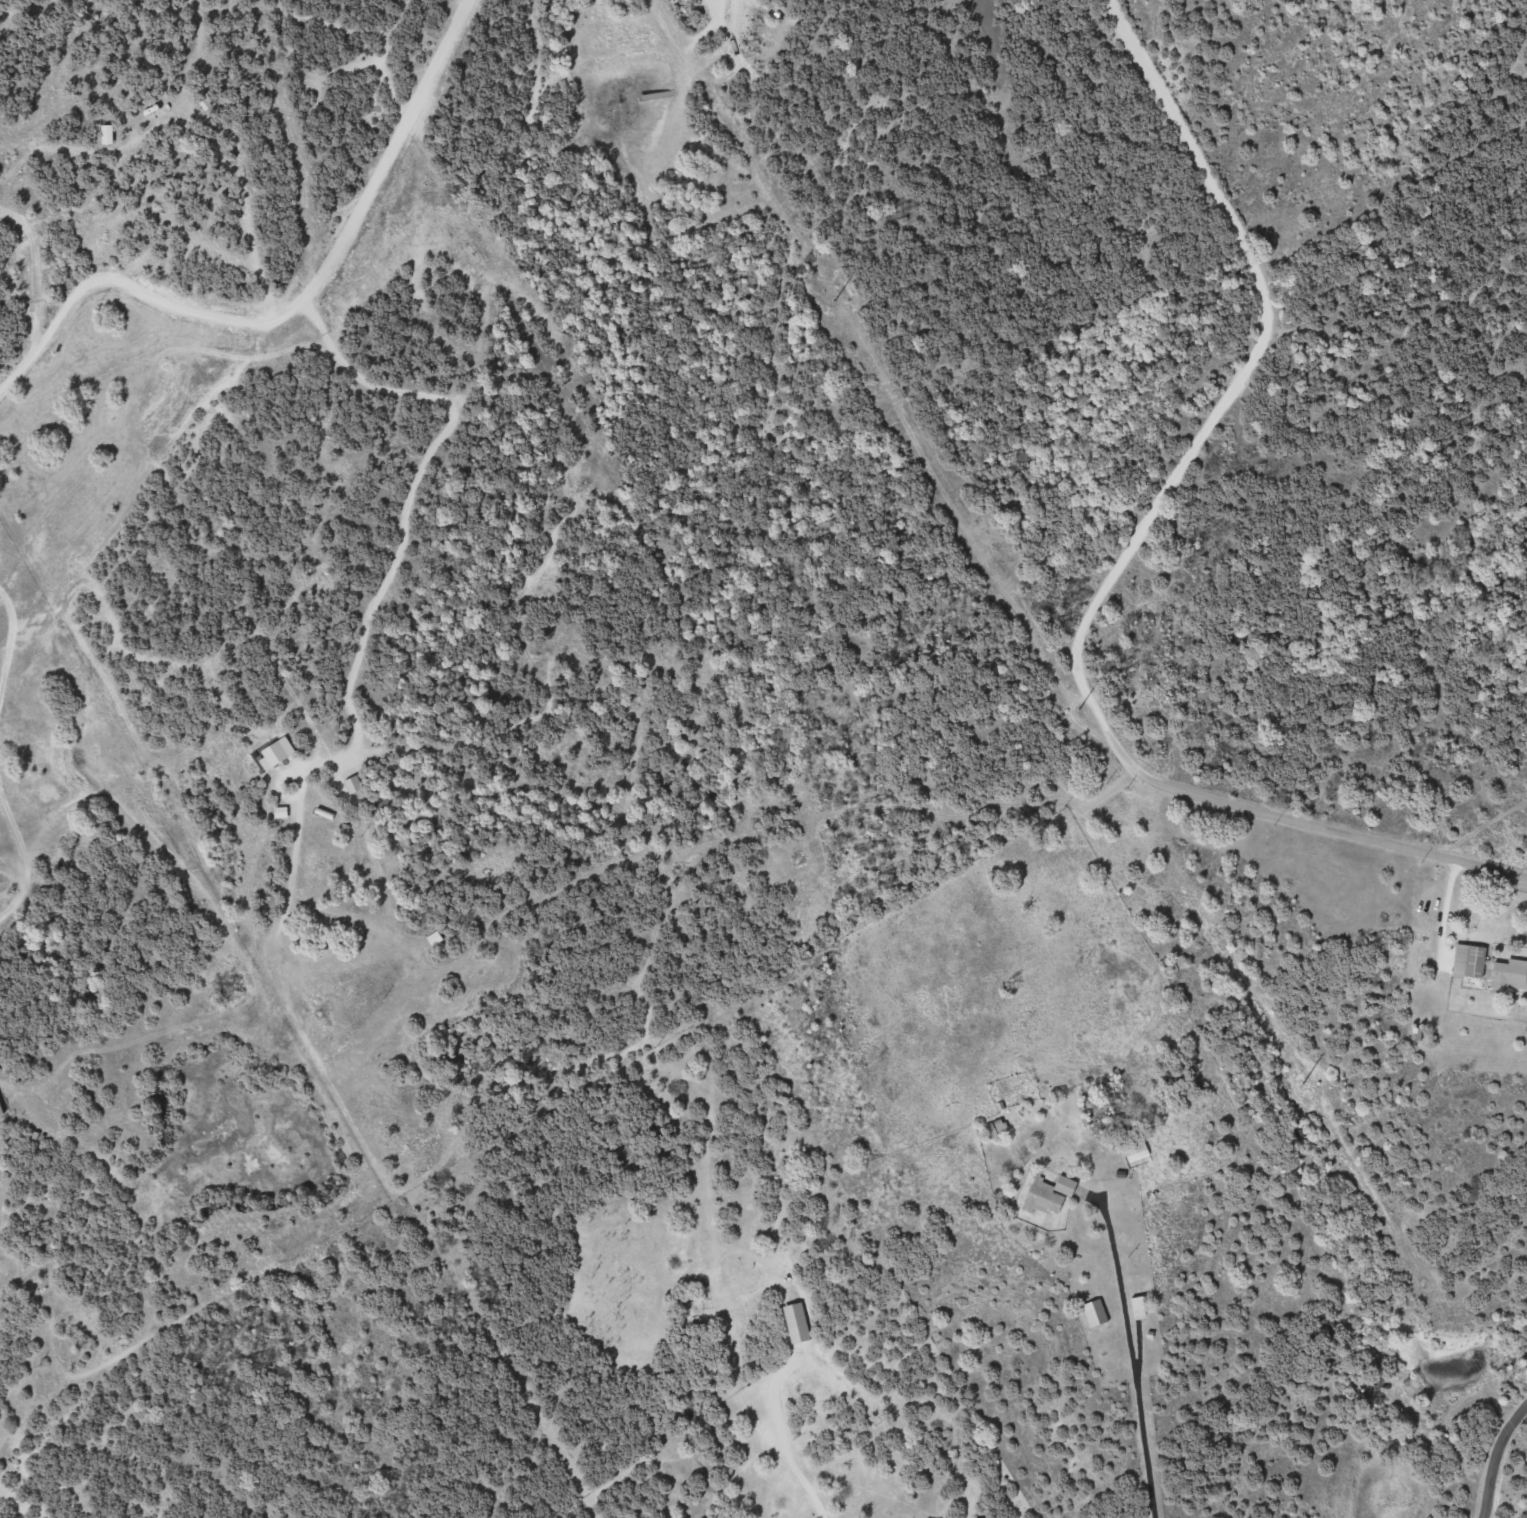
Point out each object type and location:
power tower: (835, 299)
road: (272, 374)
road: (1131, 561)
power tower: (1078, 708)
building: (354, 781)
building: (282, 809)
building: (1470, 957)
building: (1510, 971)
power tower: (1302, 1083)
building: (0, 1112)
building: (1136, 1149)
building: (1050, 1191)
building: (1139, 1304)
building: (1096, 1310)
building: (799, 1320)
road: (1499, 1462)

